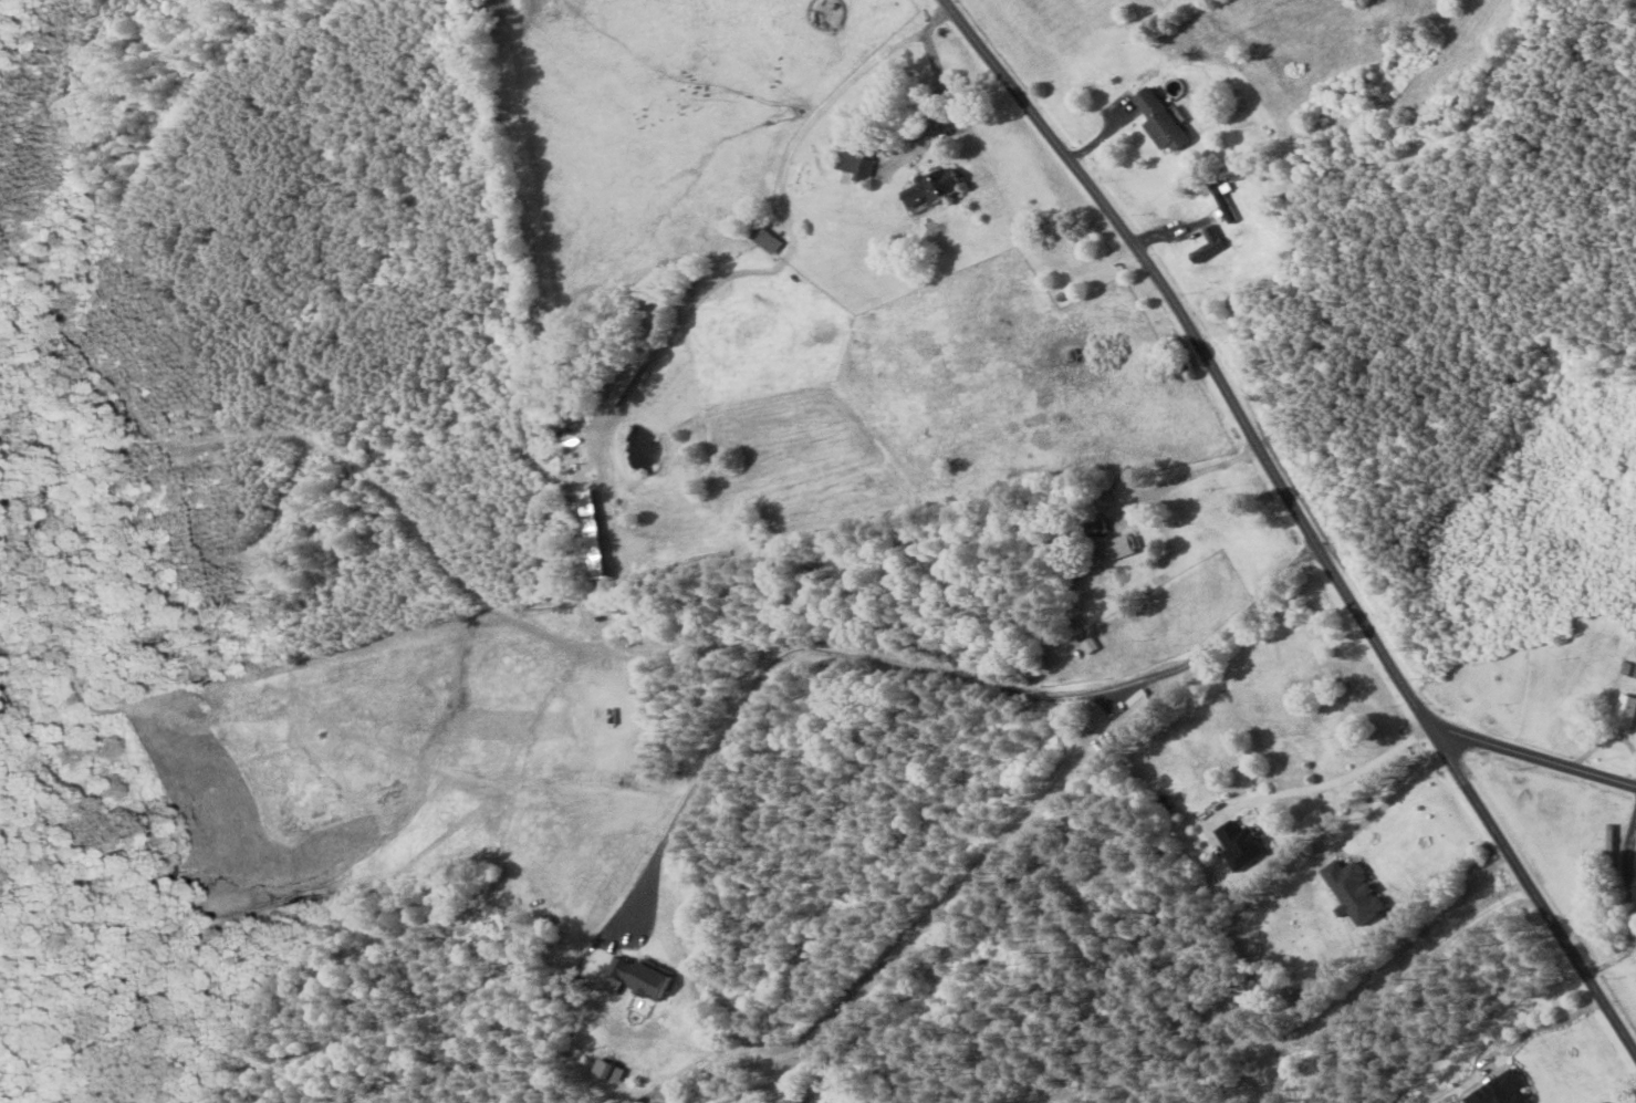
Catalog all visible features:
building: (1167, 118)
building: (859, 165)
building: (939, 187)
building: (768, 240)
building: (1212, 246)
road: (1291, 521)
building: (1096, 527)
building: (1122, 547)
building: (1084, 645)
road: (850, 656)
building: (1628, 668)
building: (1133, 709)
building: (1625, 711)
road: (1534, 758)
river: (98, 836)
building: (1243, 844)
building: (1371, 908)
building: (636, 976)
building: (605, 1070)
building: (1503, 1091)

